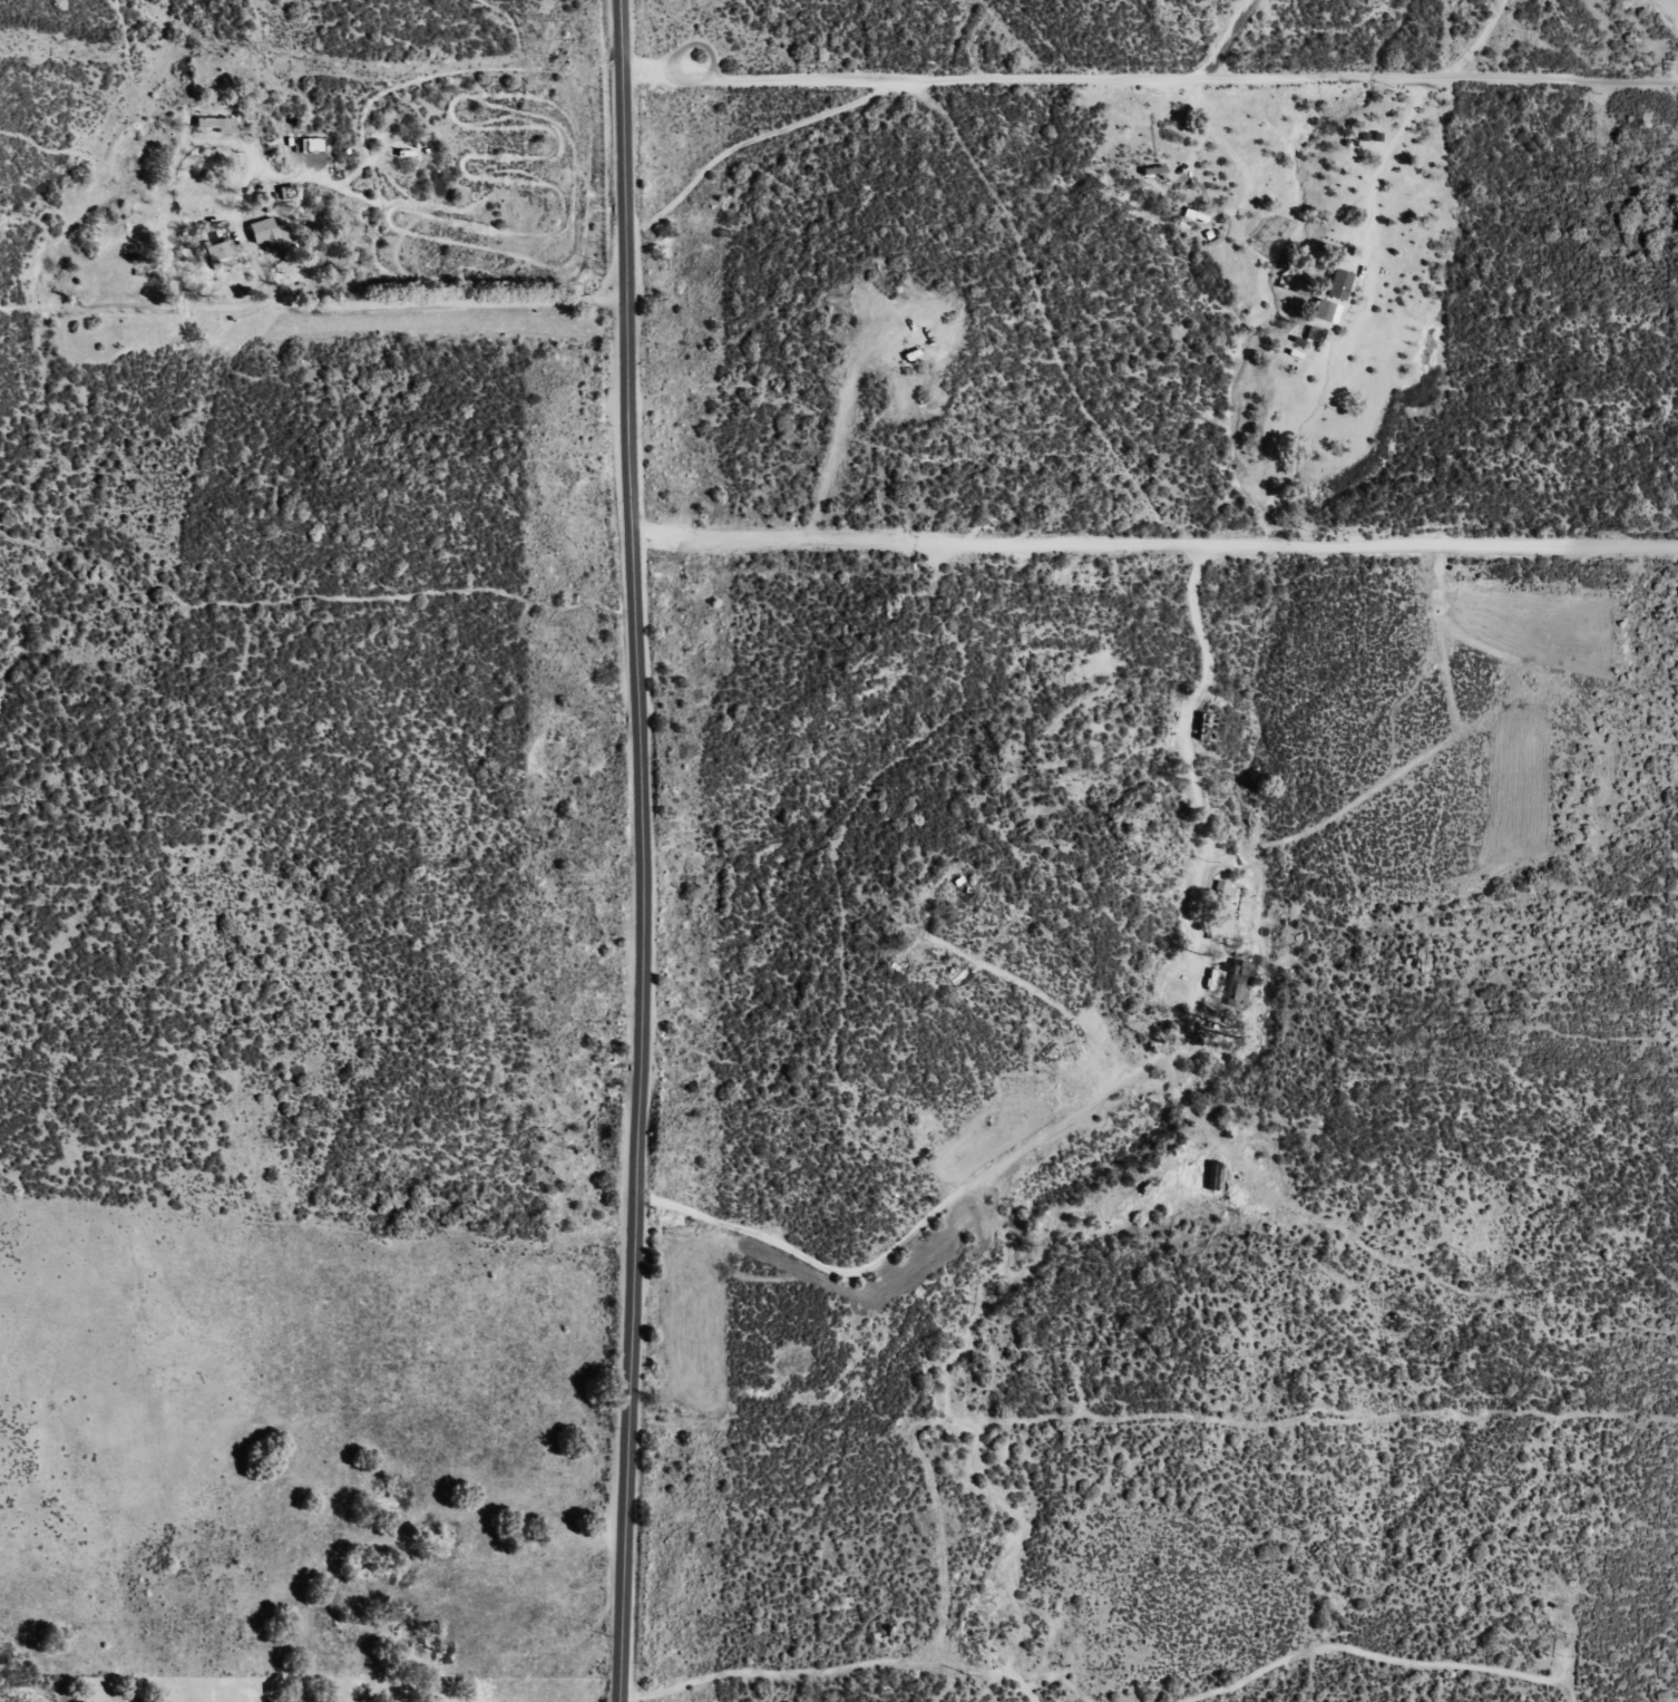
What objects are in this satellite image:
road: (1237, 27)
road: (825, 80)
building: (215, 125)
building: (311, 145)
building: (270, 235)
building: (216, 249)
building: (1338, 284)
road: (413, 304)
building: (1323, 311)
road: (1148, 546)
road: (616, 850)
building: (1225, 895)

